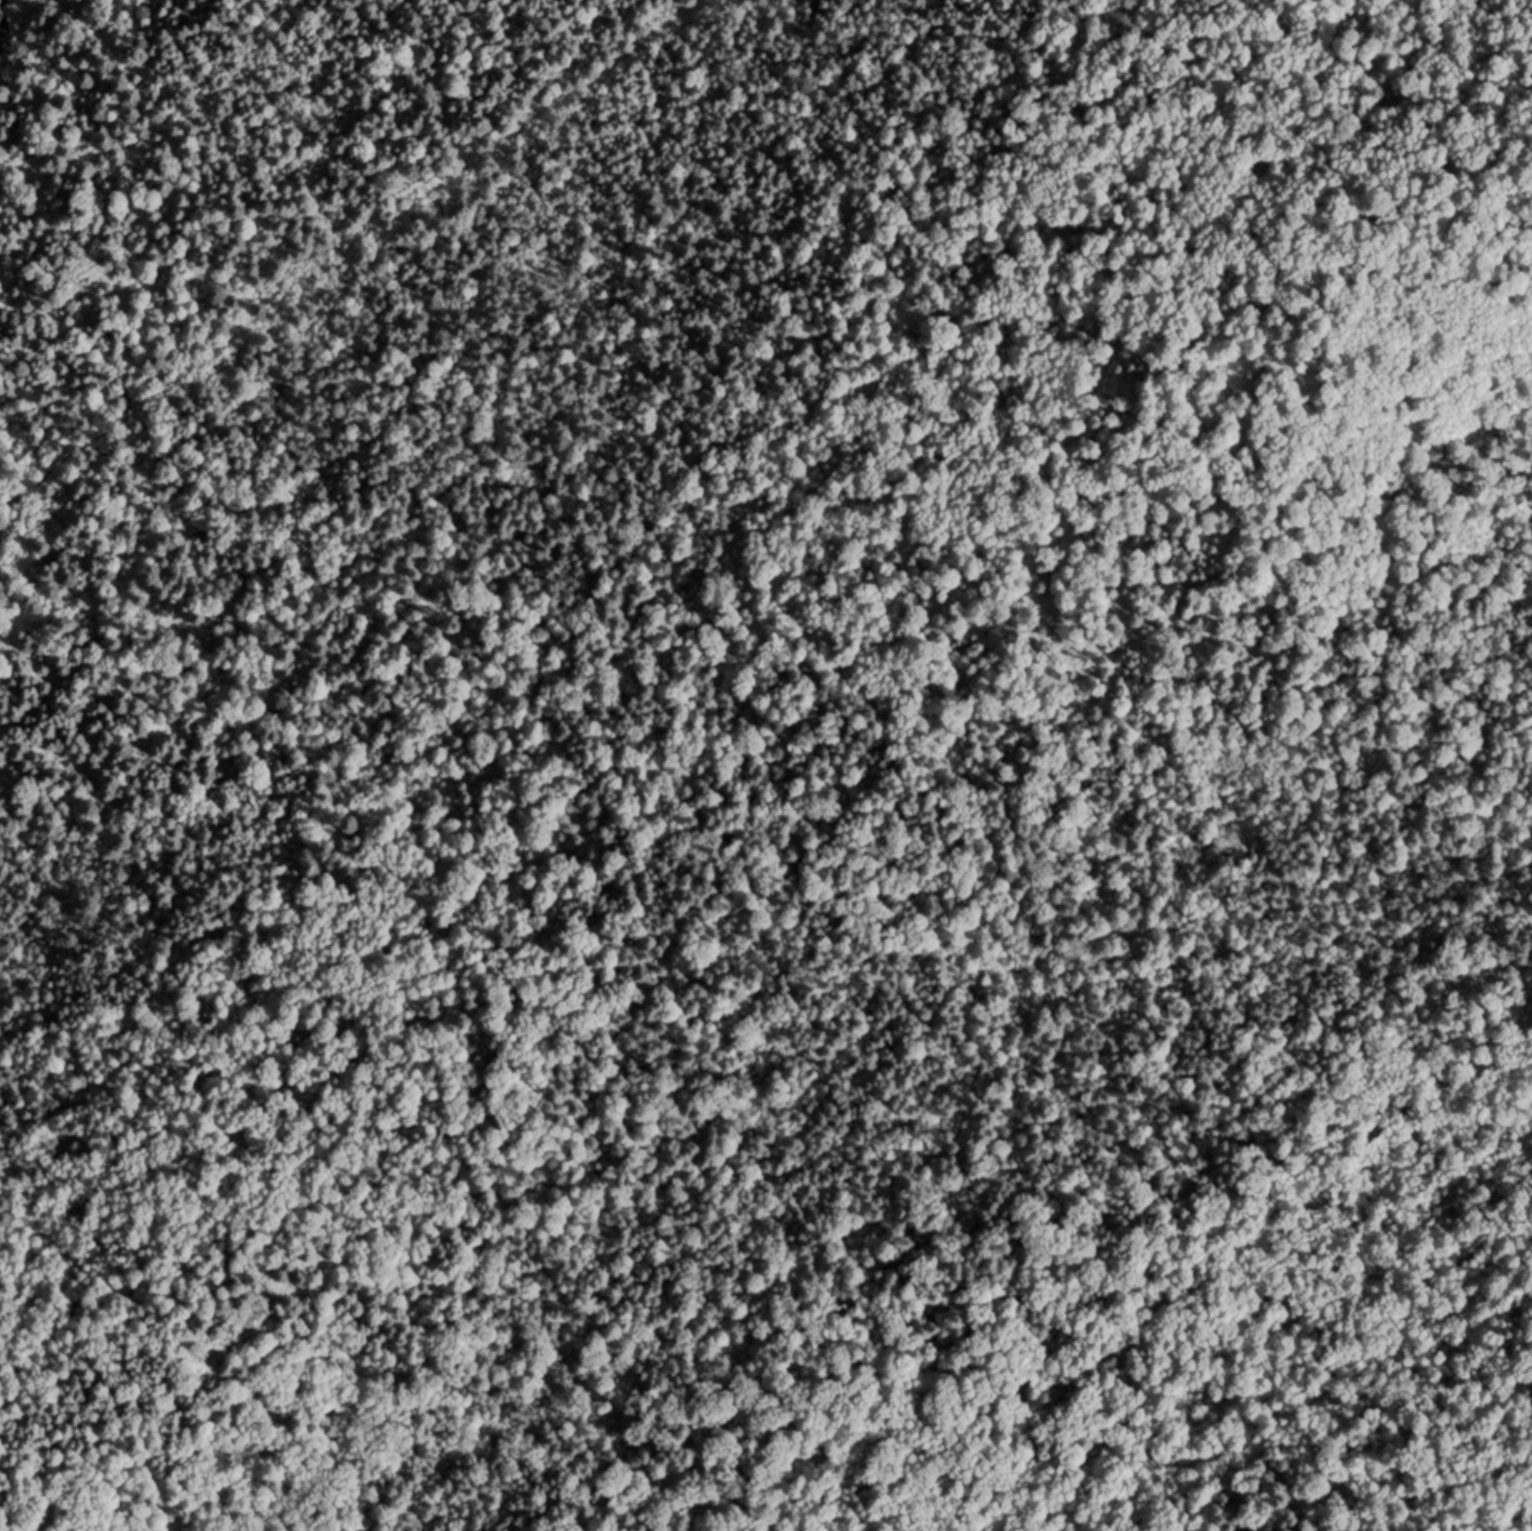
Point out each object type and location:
road: (54, 247)
road: (306, 1037)
road: (1259, 1426)

